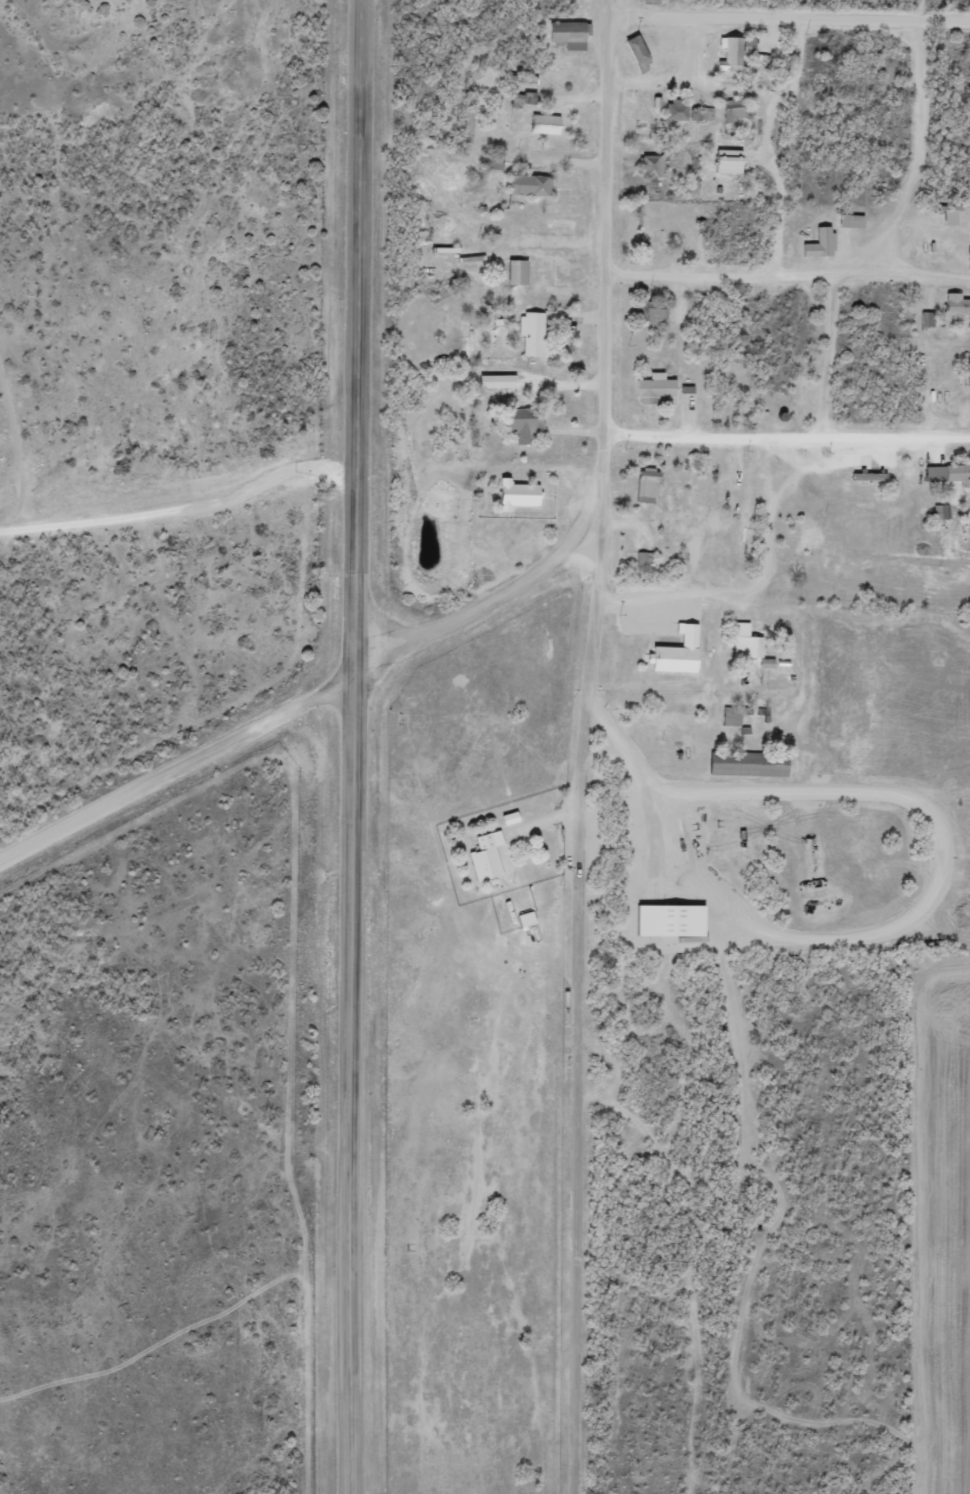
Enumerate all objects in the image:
building: (643, 0)
building: (561, 35)
building: (632, 53)
building: (726, 53)
road: (808, 58)
building: (518, 97)
building: (670, 110)
building: (726, 110)
building: (701, 113)
building: (539, 124)
road: (714, 126)
building: (486, 161)
building: (721, 161)
building: (646, 166)
road: (926, 188)
building: (844, 220)
building: (647, 222)
building: (814, 244)
building: (510, 272)
road: (803, 290)
building: (952, 305)
building: (647, 314)
building: (526, 334)
building: (490, 381)
building: (648, 390)
road: (182, 407)
building: (520, 421)
road: (796, 431)
building: (862, 472)
building: (943, 473)
building: (641, 485)
building: (510, 493)
building: (795, 563)
road: (791, 566)
road: (467, 610)
building: (740, 642)
building: (670, 653)
building: (726, 718)
road: (587, 737)
road: (354, 746)
building: (743, 763)
road: (176, 765)
building: (481, 856)
building: (662, 920)

